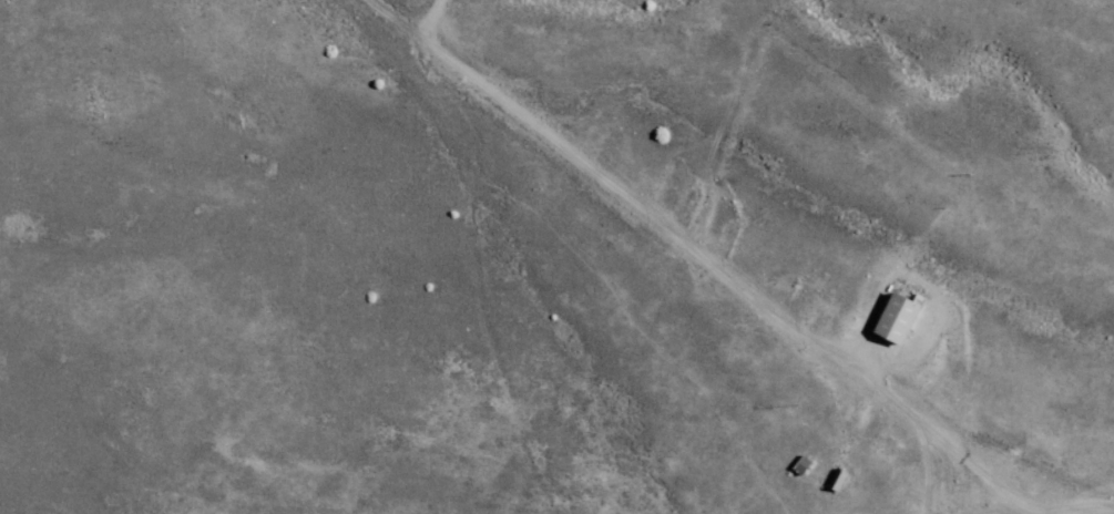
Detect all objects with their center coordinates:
road: (727, 265)

